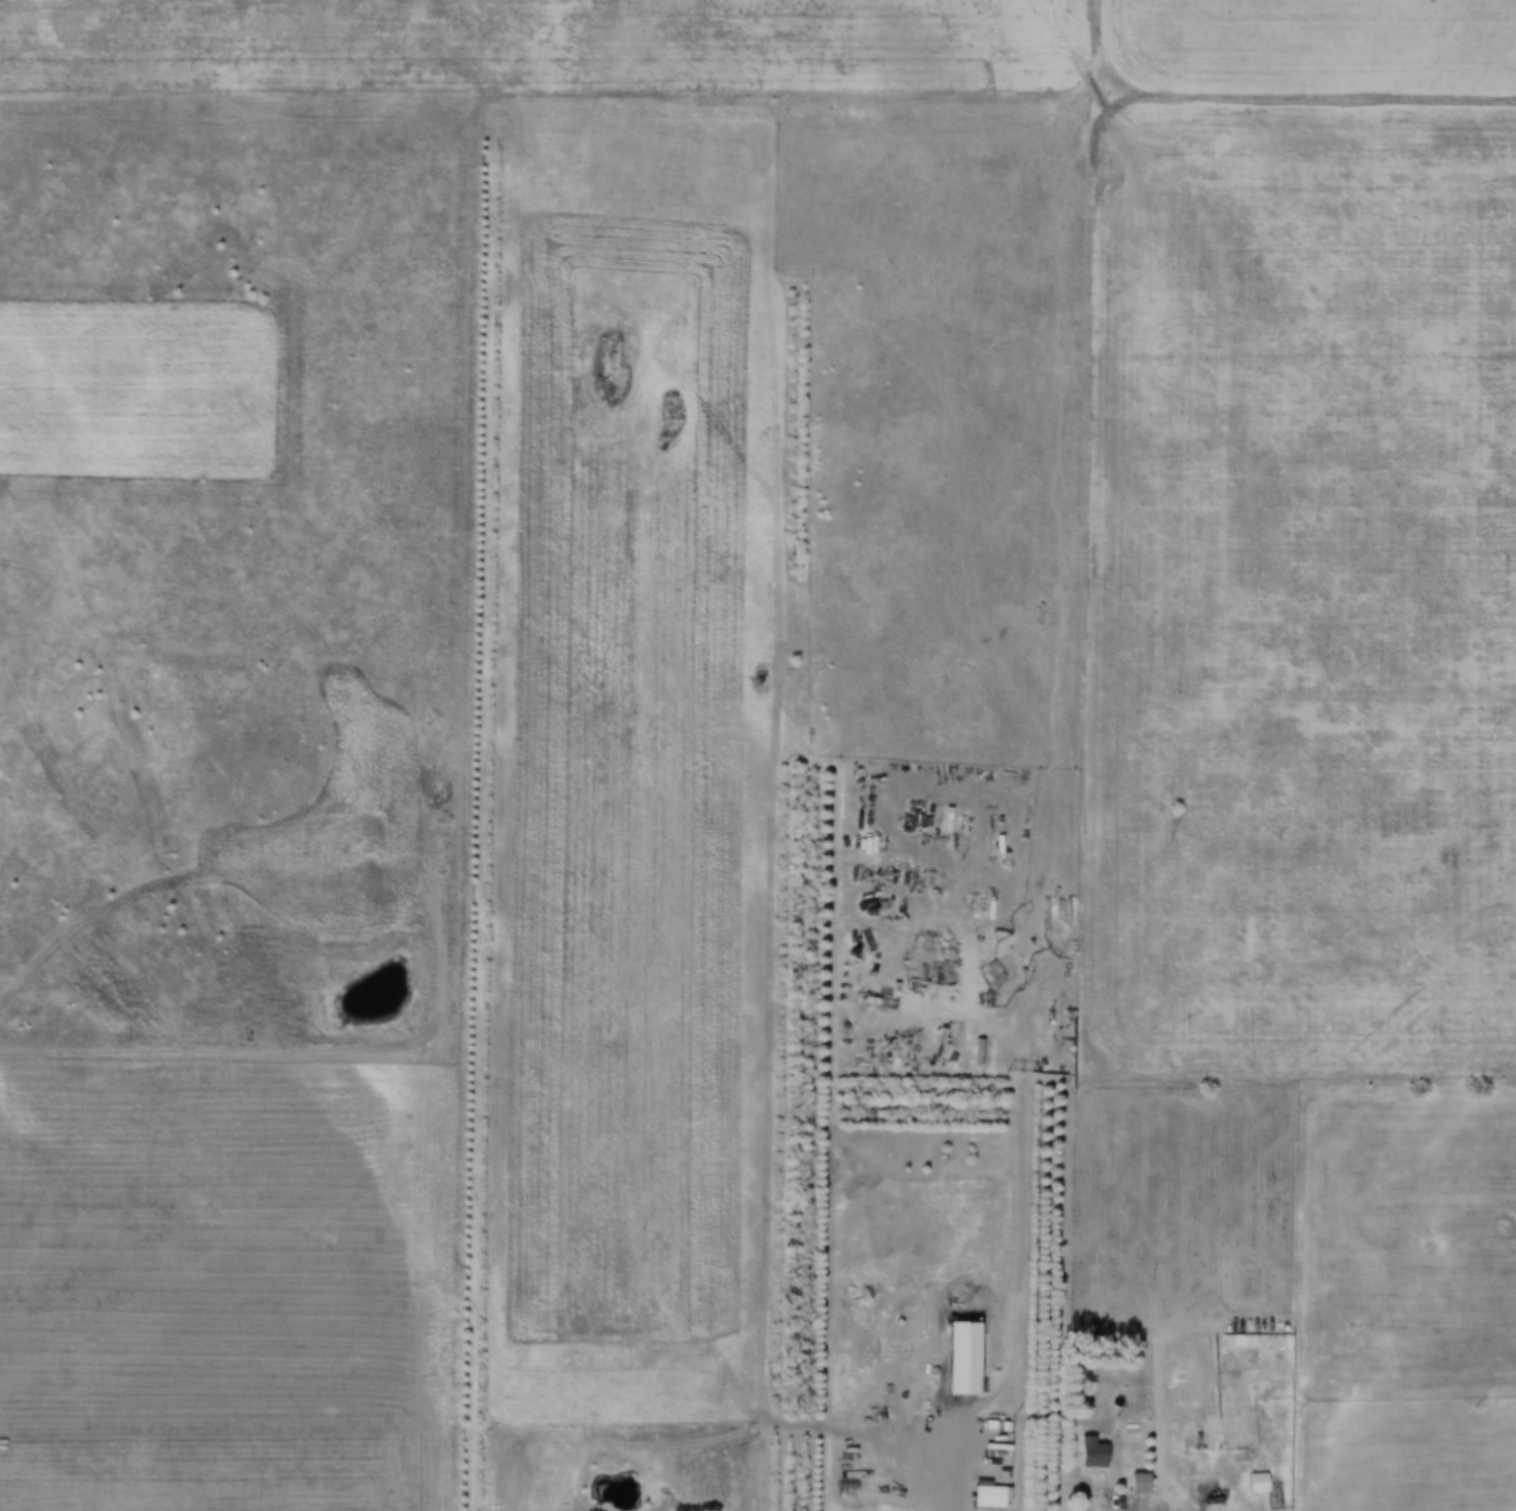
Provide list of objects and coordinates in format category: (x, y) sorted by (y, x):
building: (887, 1178)
building: (966, 1357)
building: (1021, 1386)
building: (1195, 1437)
building: (1095, 1452)
road: (951, 1469)
building: (1260, 1482)
building: (1140, 1483)

